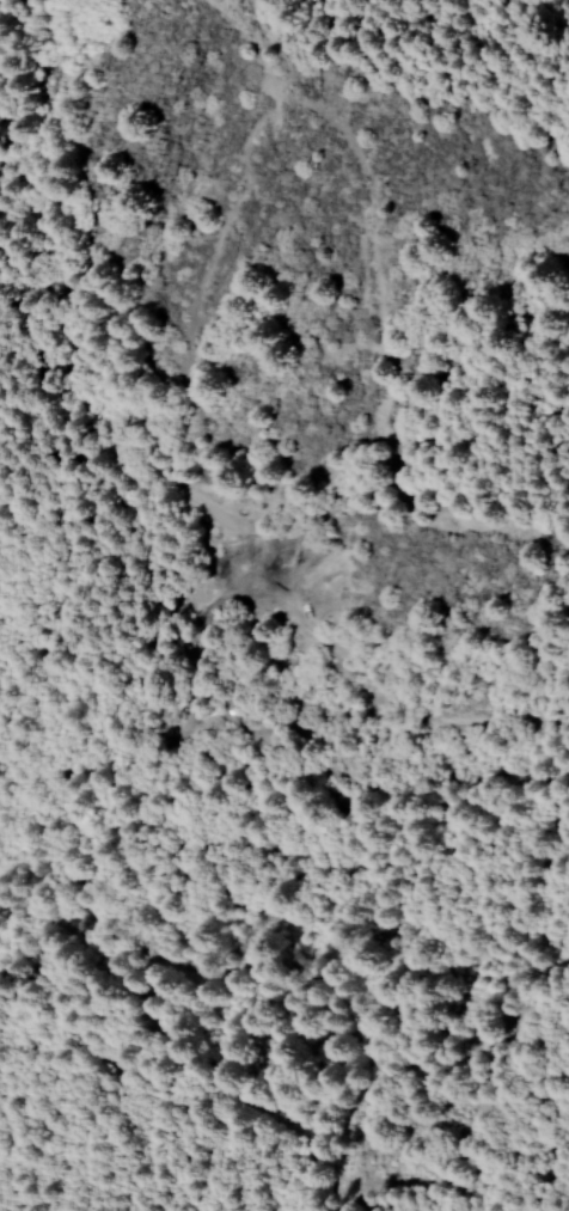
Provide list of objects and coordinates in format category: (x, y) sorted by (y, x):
road: (274, 738)
road: (276, 919)
road: (559, 1199)

